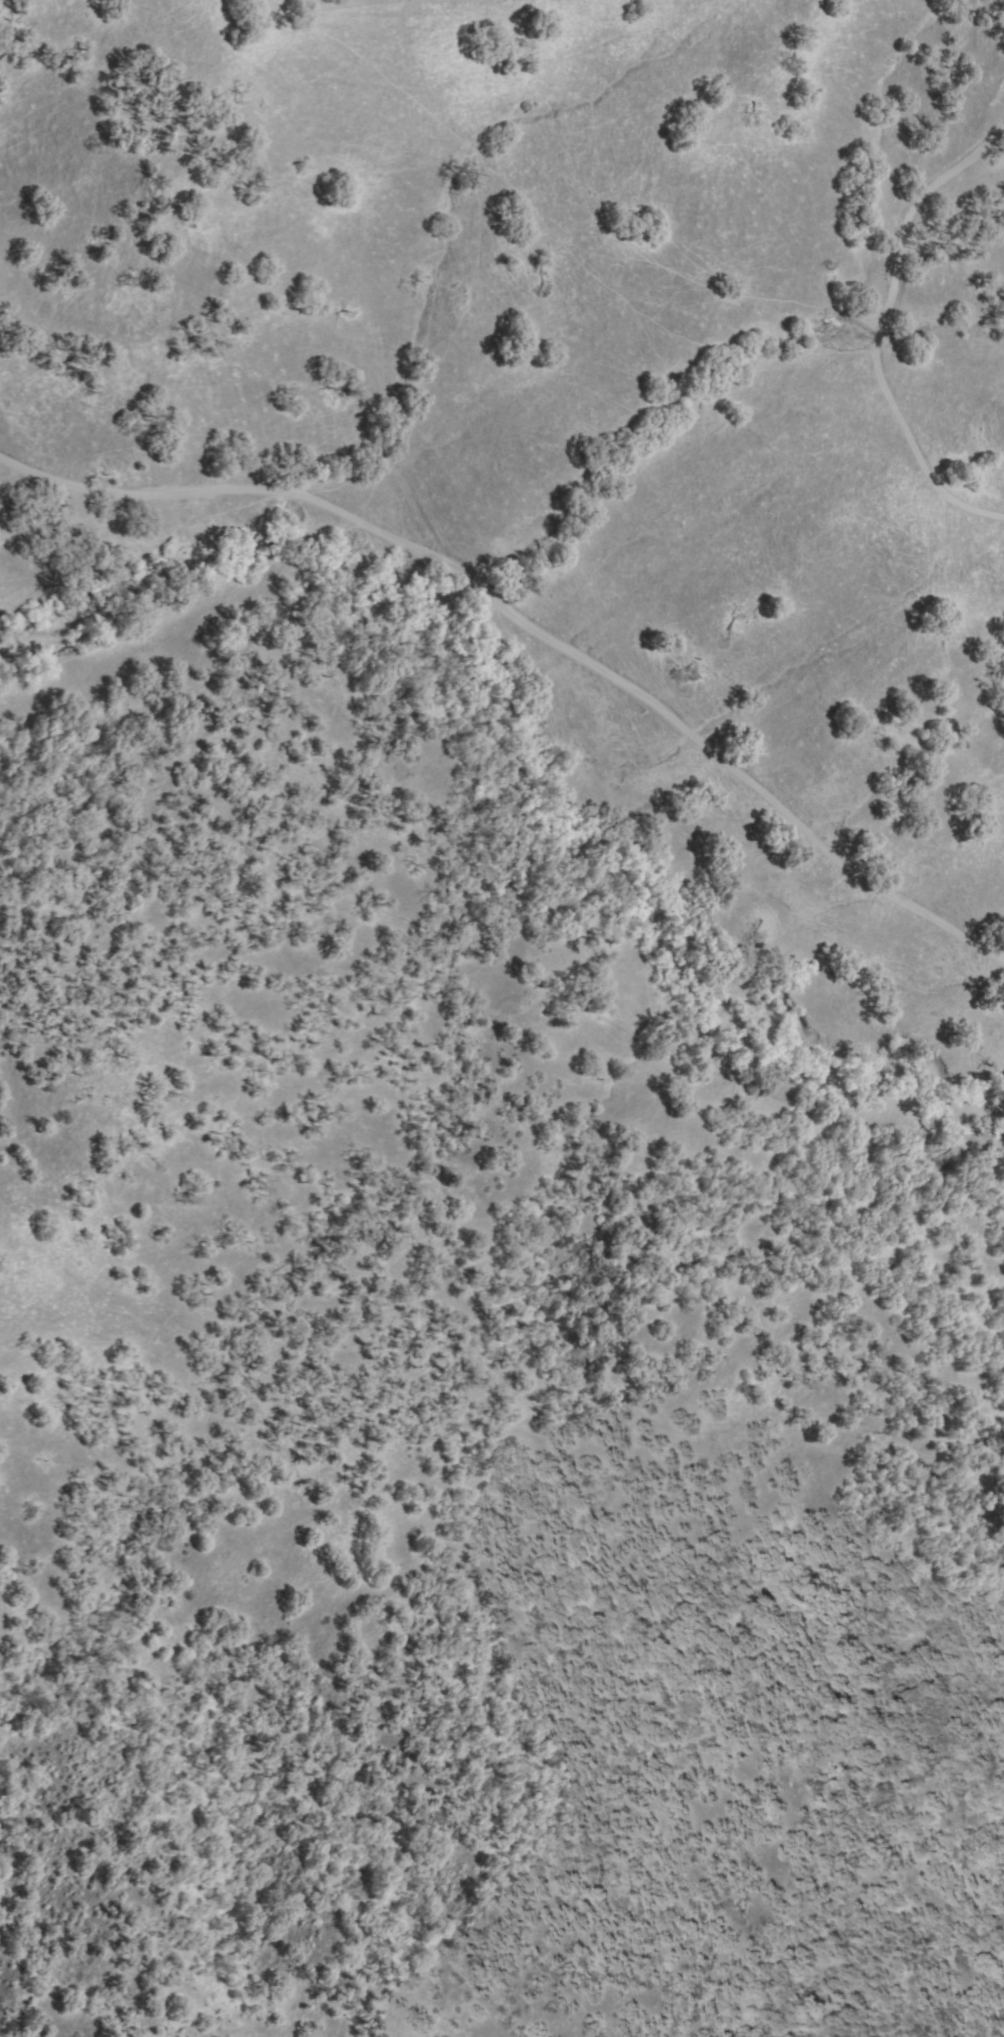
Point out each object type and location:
road: (532, 628)

